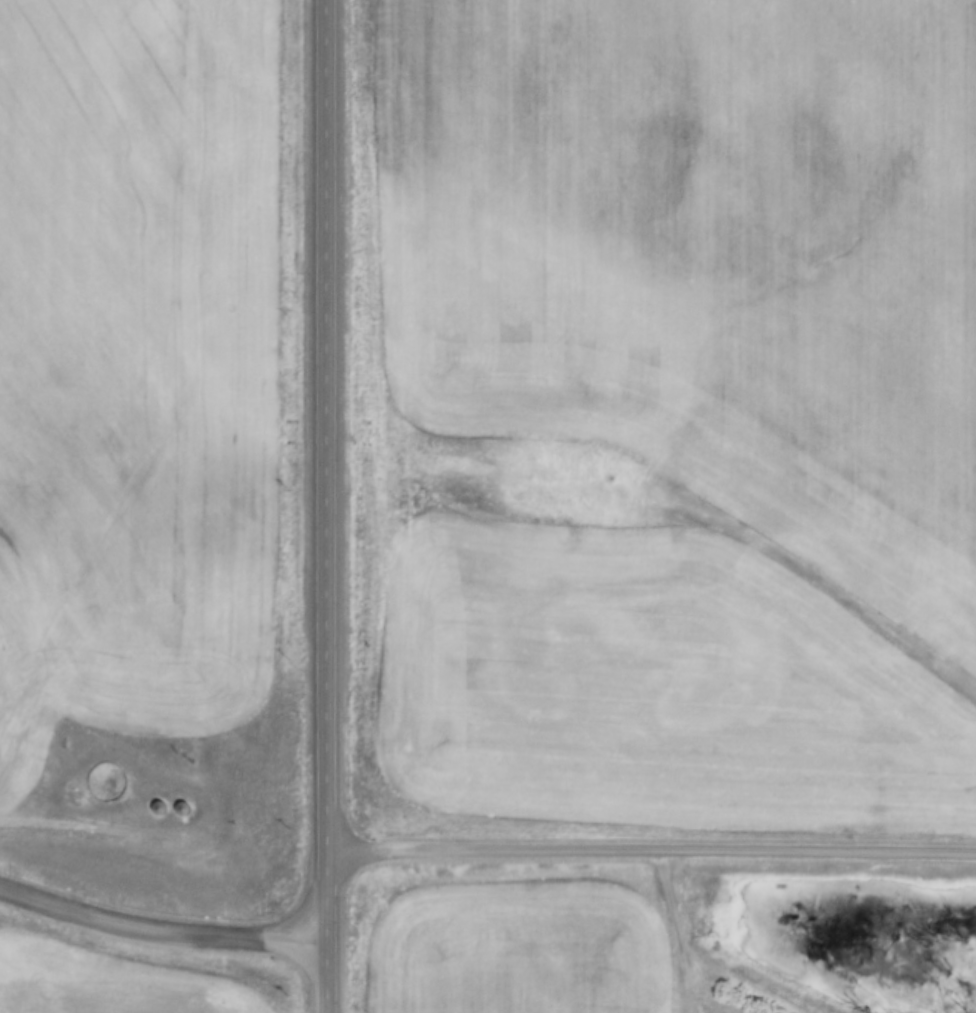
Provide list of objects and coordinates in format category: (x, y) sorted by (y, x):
road: (327, 507)
building: (160, 810)
road: (70, 816)
road: (653, 856)
road: (162, 924)

